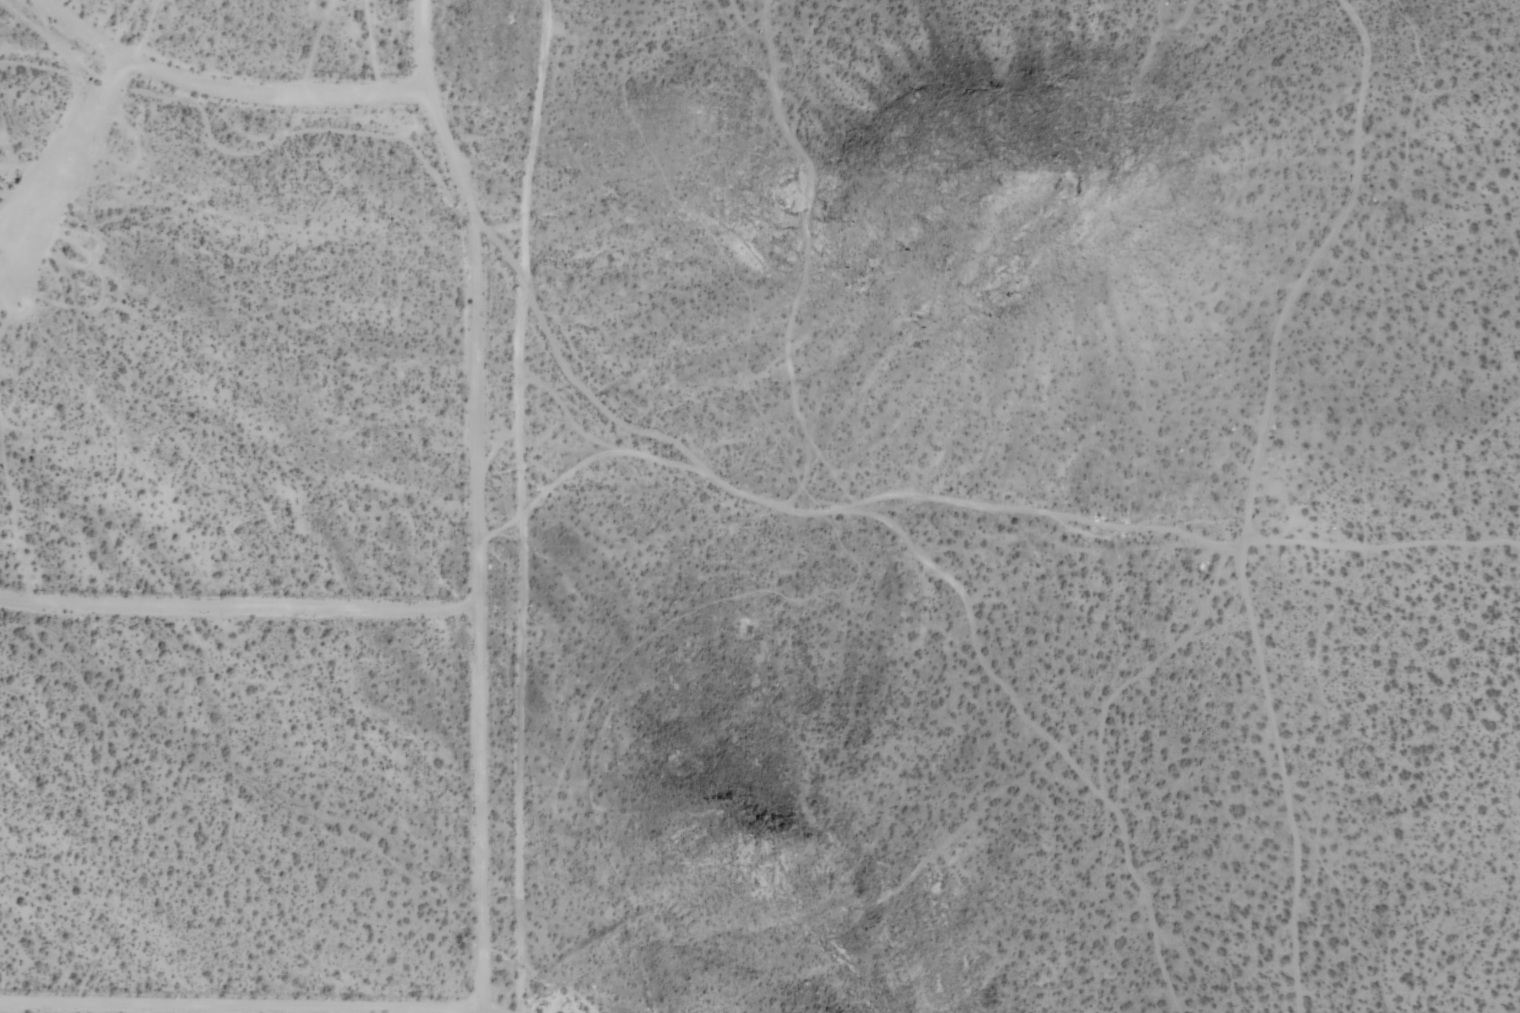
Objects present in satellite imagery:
road: (221, 88)
road: (475, 501)
road: (618, 508)
road: (238, 609)
quarry: (767, 928)
road: (239, 1009)

